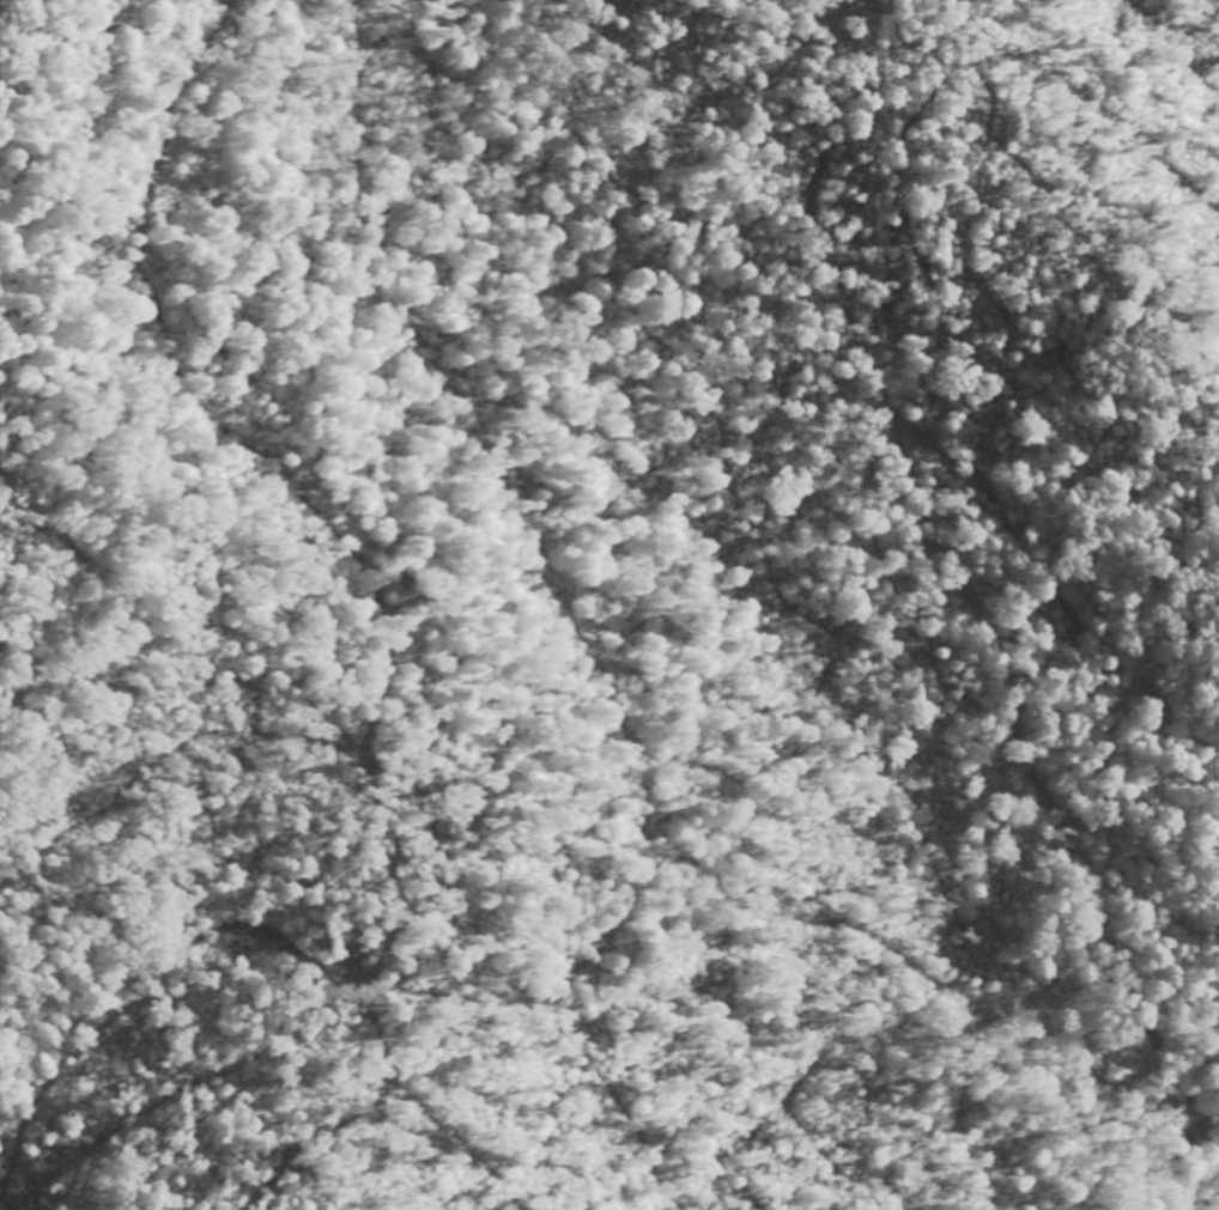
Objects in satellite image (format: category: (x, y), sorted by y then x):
road: (923, 589)

